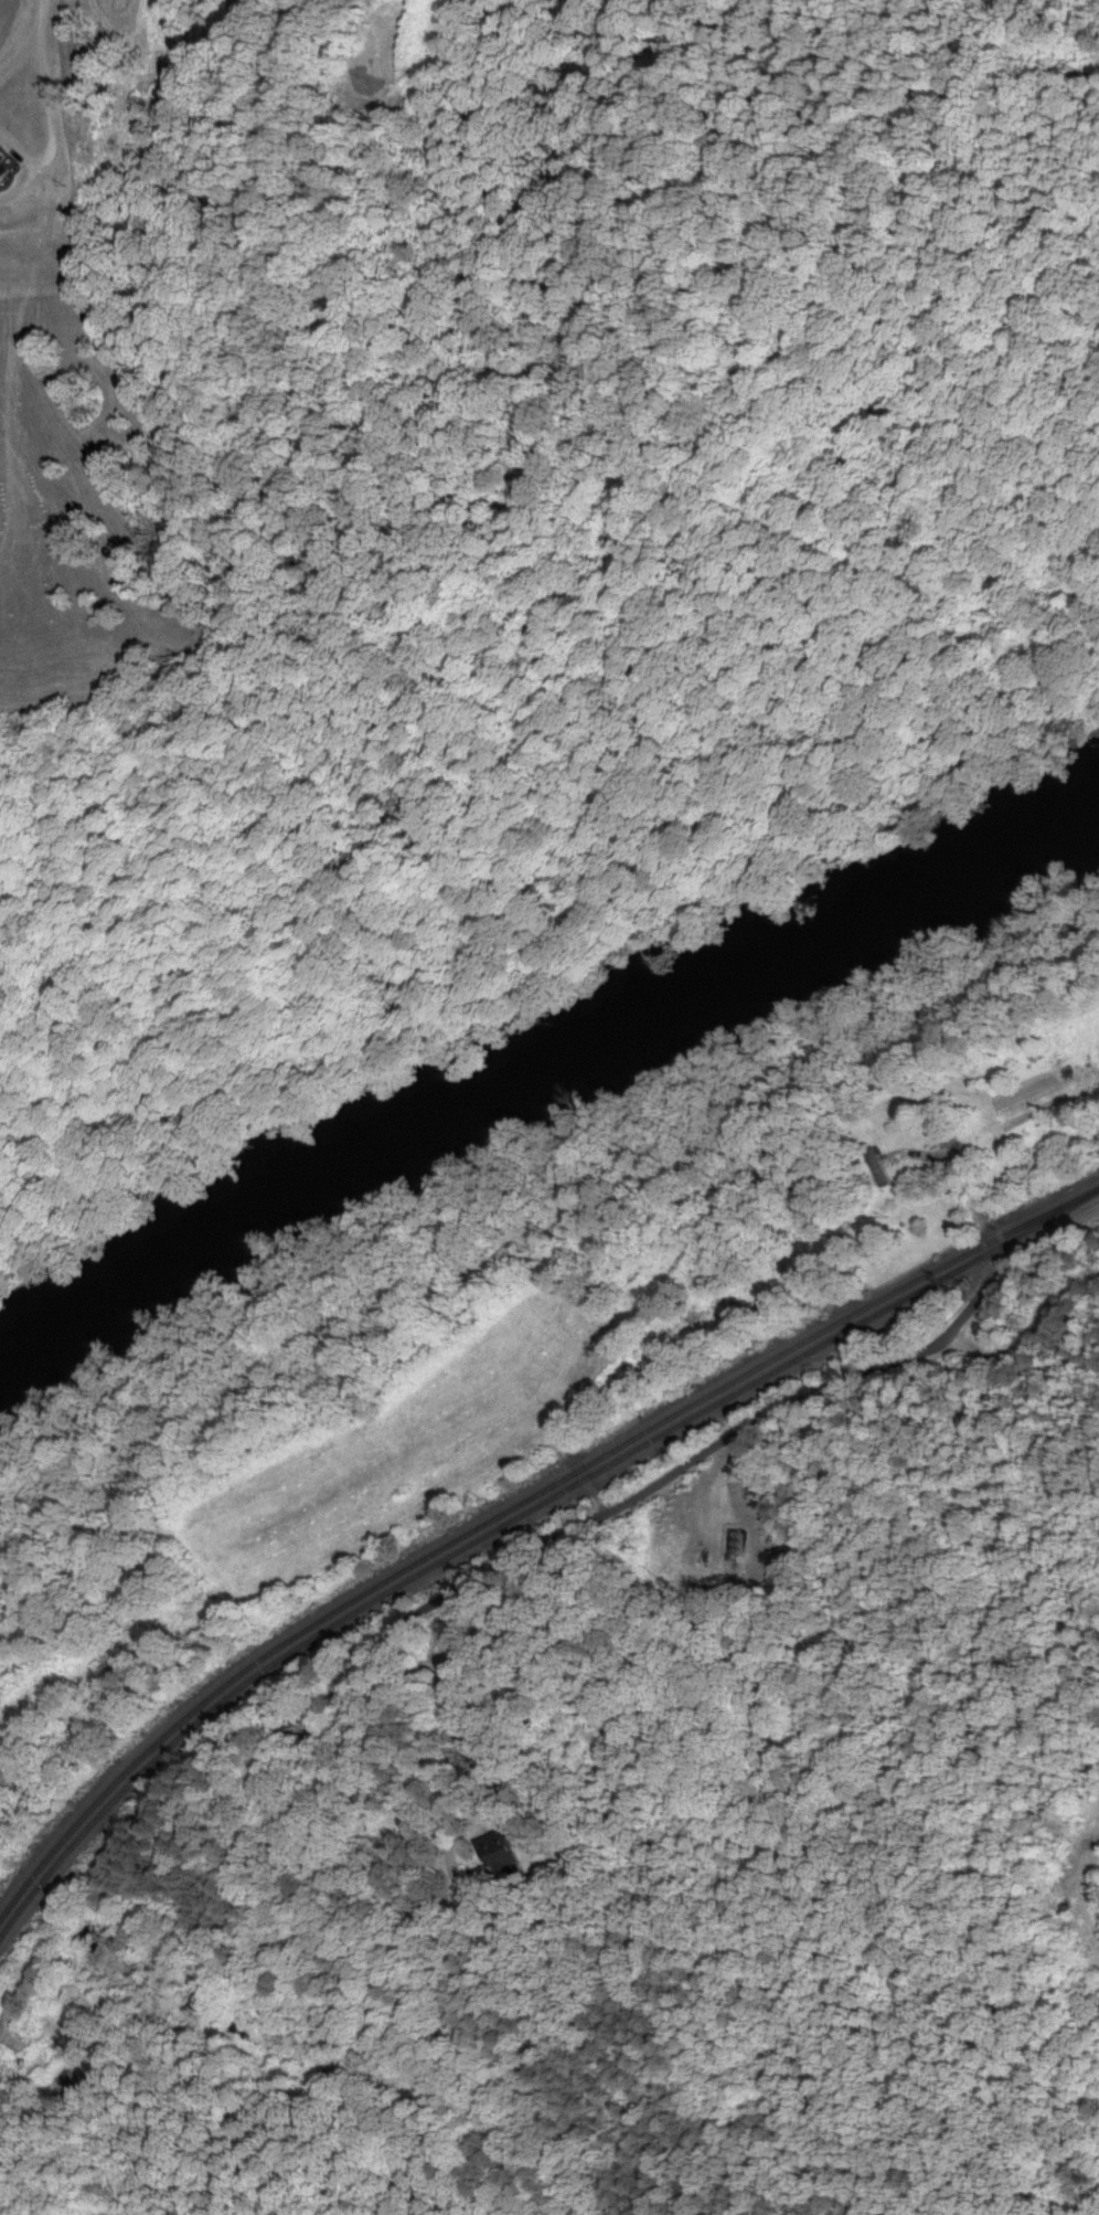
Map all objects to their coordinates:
river: (545, 1094)
railway: (513, 1512)
road: (508, 1569)
building: (502, 1851)

